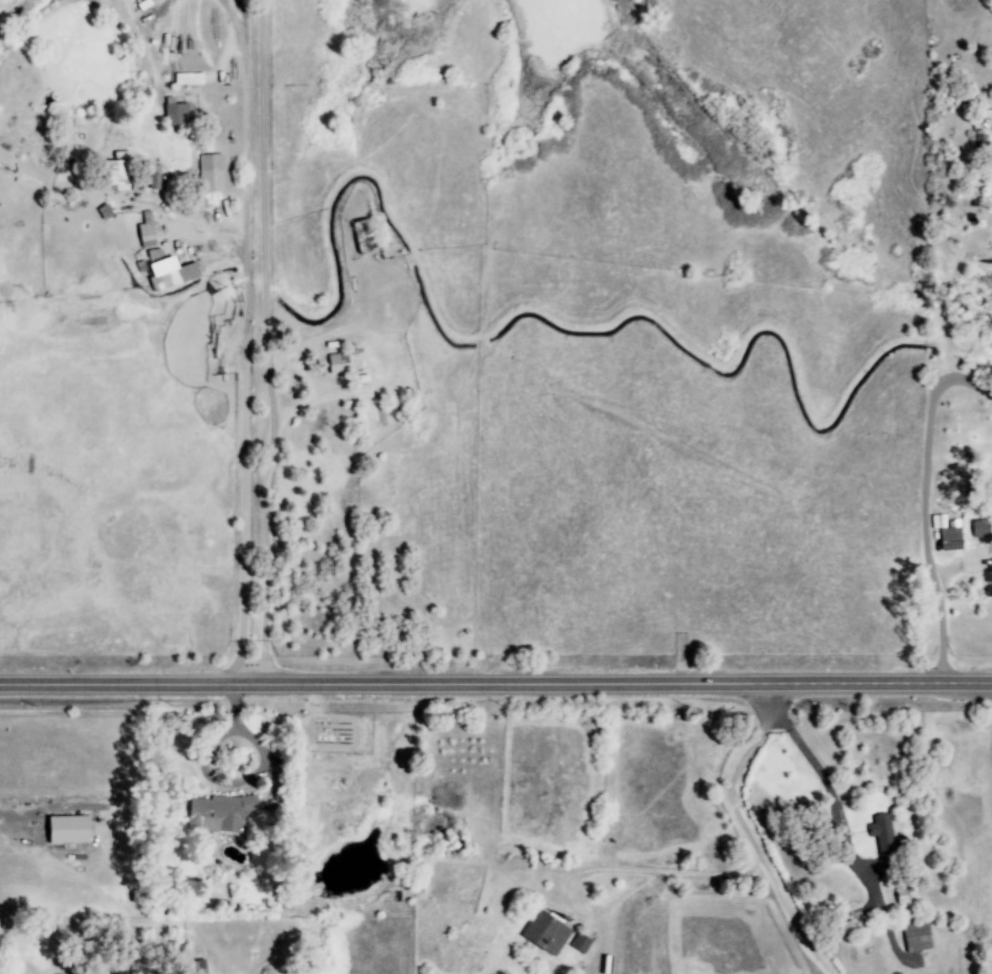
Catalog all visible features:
road: (162, 7)
building: (176, 114)
building: (211, 173)
building: (117, 174)
building: (154, 177)
building: (146, 231)
building: (174, 277)
road: (245, 339)
road: (265, 343)
building: (337, 363)
road: (926, 506)
building: (980, 528)
building: (950, 538)
road: (496, 686)
road: (816, 769)
building: (218, 812)
building: (67, 830)
building: (881, 833)
road: (750, 834)
road: (672, 873)
building: (545, 933)
building: (917, 937)
building: (580, 943)
building: (200, 966)

